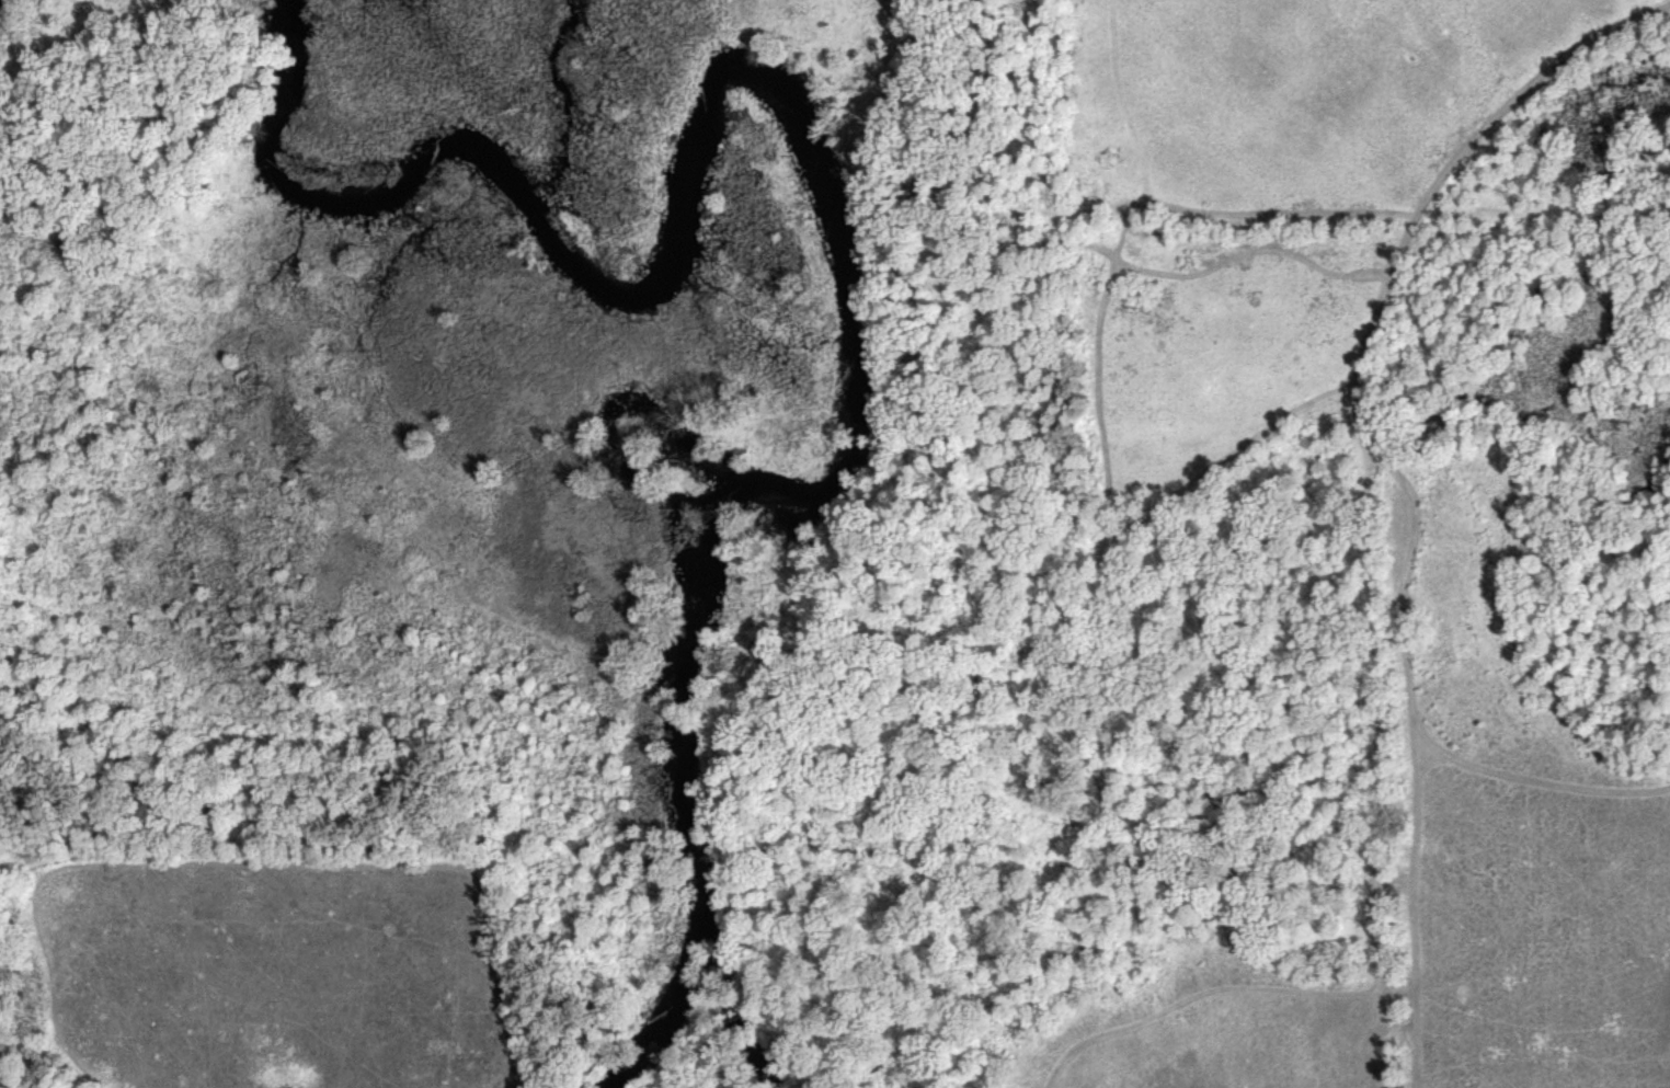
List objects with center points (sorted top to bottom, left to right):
river: (836, 194)

